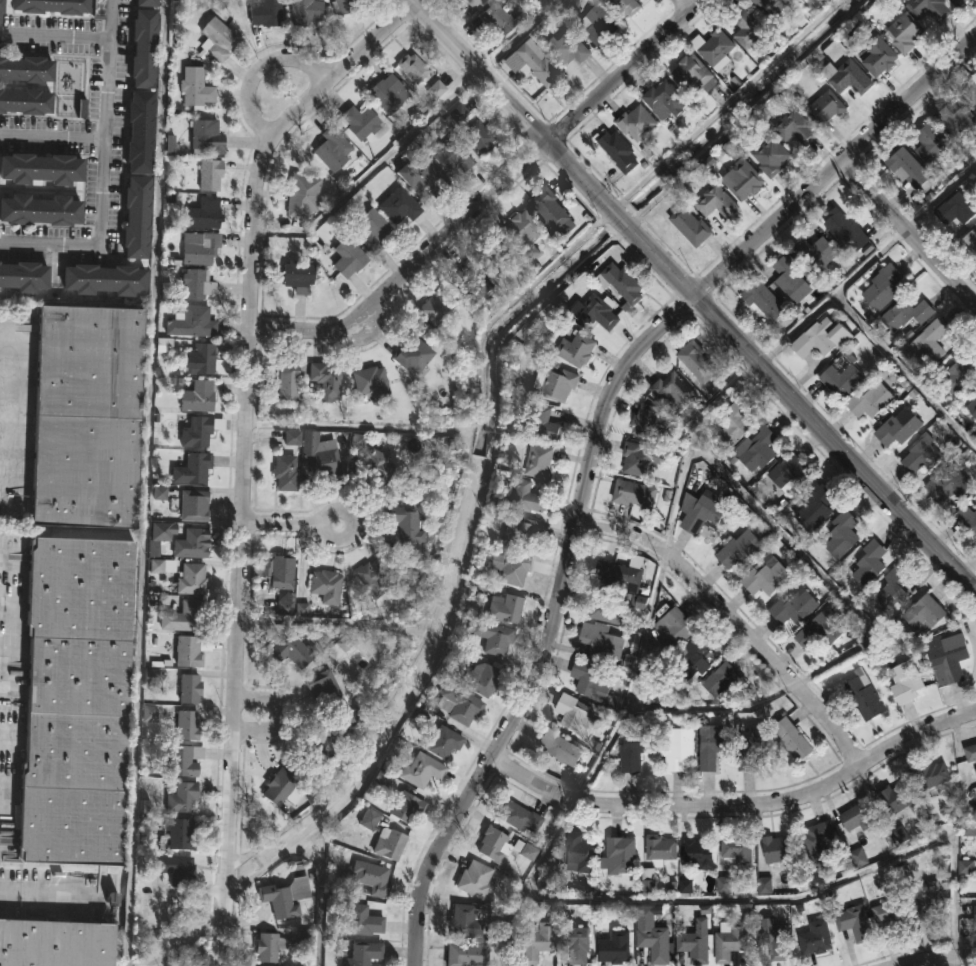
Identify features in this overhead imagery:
building: (957, 1)
building: (472, 2)
road: (552, 3)
building: (145, 4)
road: (686, 4)
building: (0, 6)
building: (52, 6)
building: (344, 6)
building: (627, 6)
building: (773, 7)
building: (929, 8)
building: (262, 12)
building: (304, 12)
building: (497, 20)
building: (599, 24)
building: (749, 28)
building: (906, 33)
road: (55, 36)
road: (521, 36)
building: (216, 40)
building: (566, 47)
building: (717, 47)
building: (143, 50)
building: (879, 56)
building: (531, 66)
building: (25, 69)
building: (412, 69)
road: (259, 70)
building: (695, 76)
building: (849, 77)
building: (195, 87)
building: (970, 91)
building: (388, 94)
building: (24, 100)
building: (667, 100)
road: (511, 104)
road: (725, 105)
building: (827, 108)
road: (751, 114)
building: (359, 122)
building: (958, 122)
building: (637, 123)
building: (796, 128)
building: (139, 132)
building: (205, 134)
road: (53, 136)
building: (479, 138)
building: (930, 148)
building: (333, 150)
building: (618, 151)
building: (771, 156)
building: (451, 157)
building: (41, 167)
road: (374, 169)
building: (911, 170)
building: (210, 174)
building: (739, 174)
road: (104, 176)
building: (423, 181)
building: (302, 195)
road: (487, 197)
road: (941, 197)
building: (718, 203)
building: (400, 207)
building: (958, 208)
building: (40, 209)
building: (553, 209)
building: (204, 212)
building: (136, 216)
road: (619, 217)
building: (374, 224)
building: (691, 226)
building: (847, 231)
road: (908, 232)
building: (525, 233)
building: (969, 242)
building: (199, 247)
building: (817, 252)
building: (498, 256)
building: (348, 257)
building: (297, 276)
building: (24, 277)
building: (793, 277)
building: (103, 278)
building: (472, 281)
building: (624, 282)
building: (197, 283)
building: (884, 287)
road: (832, 296)
building: (765, 299)
building: (435, 306)
building: (598, 310)
building: (908, 313)
building: (192, 323)
building: (823, 337)
building: (933, 340)
road: (13, 342)
building: (577, 347)
building: (413, 354)
building: (199, 359)
building: (698, 361)
building: (961, 370)
road: (903, 372)
building: (844, 374)
building: (326, 380)
building: (289, 381)
building: (370, 382)
building: (555, 382)
building: (974, 386)
road: (12, 389)
building: (674, 390)
building: (198, 397)
building: (871, 399)
road: (474, 406)
building: (972, 407)
road: (803, 410)
building: (85, 416)
building: (648, 422)
building: (737, 422)
building: (544, 423)
building: (899, 427)
building: (198, 430)
road: (7, 435)
building: (293, 440)
road: (595, 440)
building: (760, 449)
road: (244, 452)
building: (924, 455)
building: (639, 458)
building: (324, 460)
building: (540, 461)
building: (378, 465)
building: (192, 468)
building: (791, 469)
building: (285, 472)
road: (13, 480)
road: (149, 483)
building: (949, 483)
building: (524, 495)
building: (633, 495)
building: (193, 505)
road: (10, 506)
building: (816, 506)
building: (703, 514)
building: (967, 518)
road: (291, 524)
building: (404, 525)
building: (521, 533)
building: (843, 534)
road: (782, 536)
building: (191, 545)
building: (743, 548)
road: (2, 562)
building: (869, 563)
building: (162, 566)
building: (511, 568)
building: (277, 573)
building: (621, 575)
building: (373, 577)
building: (767, 578)
building: (191, 580)
building: (327, 586)
building: (894, 589)
building: (605, 605)
road: (4, 607)
building: (795, 607)
building: (506, 610)
building: (926, 613)
building: (183, 617)
road: (423, 619)
road: (734, 620)
building: (673, 628)
building: (820, 630)
building: (489, 636)
building: (602, 641)
building: (340, 648)
building: (188, 652)
building: (293, 652)
building: (691, 659)
building: (948, 659)
road: (1, 673)
building: (482, 679)
building: (725, 679)
road: (634, 682)
building: (907, 682)
building: (594, 685)
building: (324, 687)
building: (189, 689)
building: (866, 698)
building: (75, 701)
building: (458, 704)
road: (713, 707)
building: (577, 716)
road: (278, 717)
building: (187, 725)
road: (3, 733)
building: (793, 739)
building: (328, 740)
building: (444, 743)
building: (755, 747)
building: (560, 748)
building: (679, 748)
building: (713, 748)
building: (635, 749)
building: (971, 753)
building: (184, 761)
building: (422, 771)
building: (930, 775)
road: (6, 787)
building: (279, 787)
building: (897, 797)
building: (181, 798)
road: (738, 803)
building: (406, 808)
building: (858, 816)
building: (519, 817)
building: (373, 820)
building: (180, 835)
building: (819, 843)
building: (389, 845)
building: (502, 847)
road: (317, 848)
building: (737, 849)
building: (778, 849)
building: (661, 850)
building: (581, 852)
building: (697, 853)
building: (621, 855)
building: (173, 869)
building: (372, 878)
building: (475, 880)
building: (649, 880)
road: (48, 896)
building: (285, 898)
road: (754, 900)
building: (926, 901)
building: (975, 914)
building: (892, 915)
building: (362, 921)
building: (467, 922)
building: (856, 923)
road: (188, 935)
building: (775, 938)
building: (816, 938)
building: (302, 939)
building: (730, 941)
building: (537, 942)
building: (574, 942)
building: (55, 943)
building: (655, 944)
building: (695, 944)
building: (269, 948)
building: (615, 948)
building: (360, 954)
building: (467, 955)
road: (937, 959)

